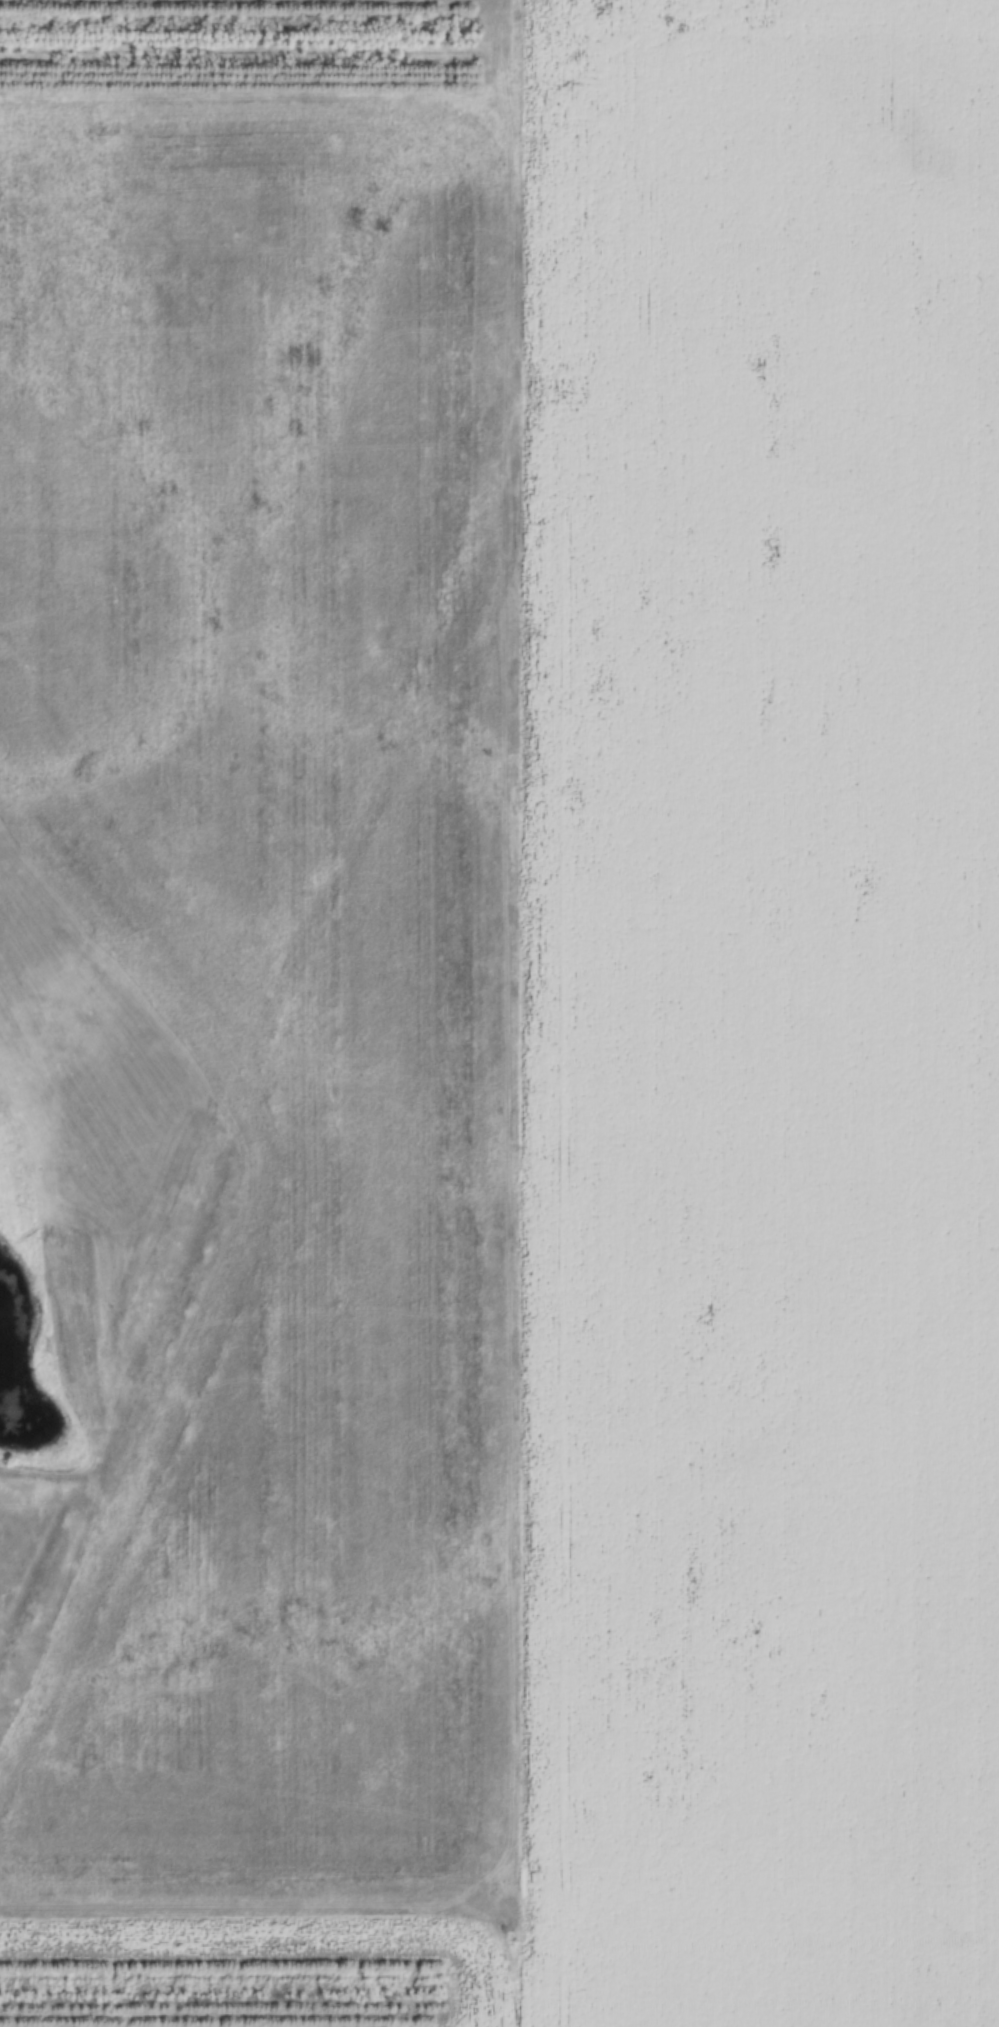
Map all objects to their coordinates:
road: (317, 1883)

